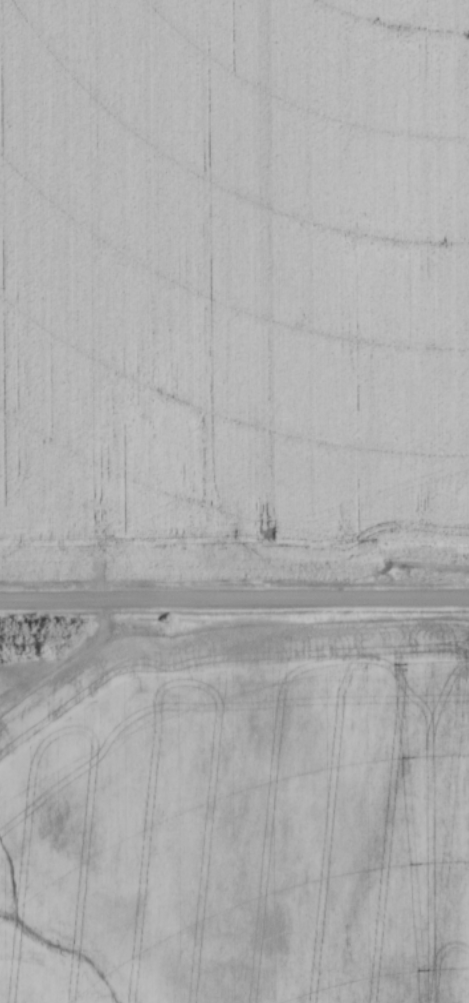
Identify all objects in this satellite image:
road: (234, 598)

